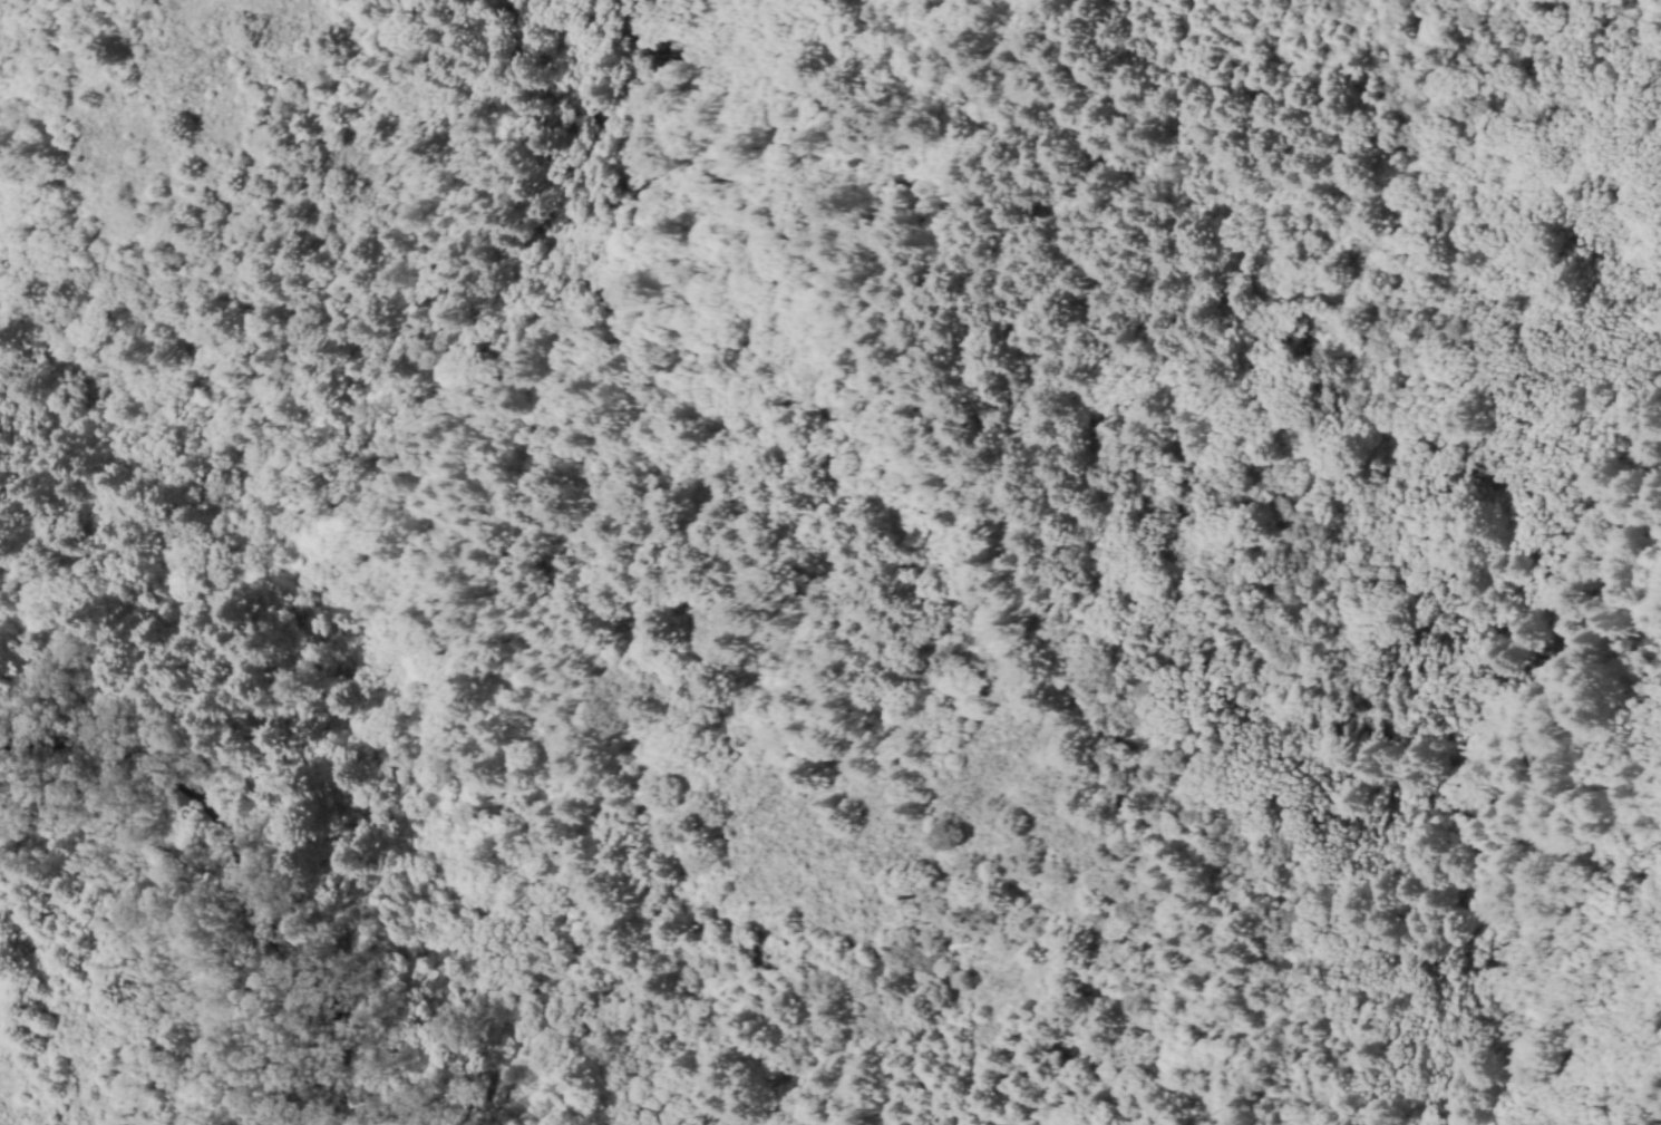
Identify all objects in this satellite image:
road: (234, 867)

